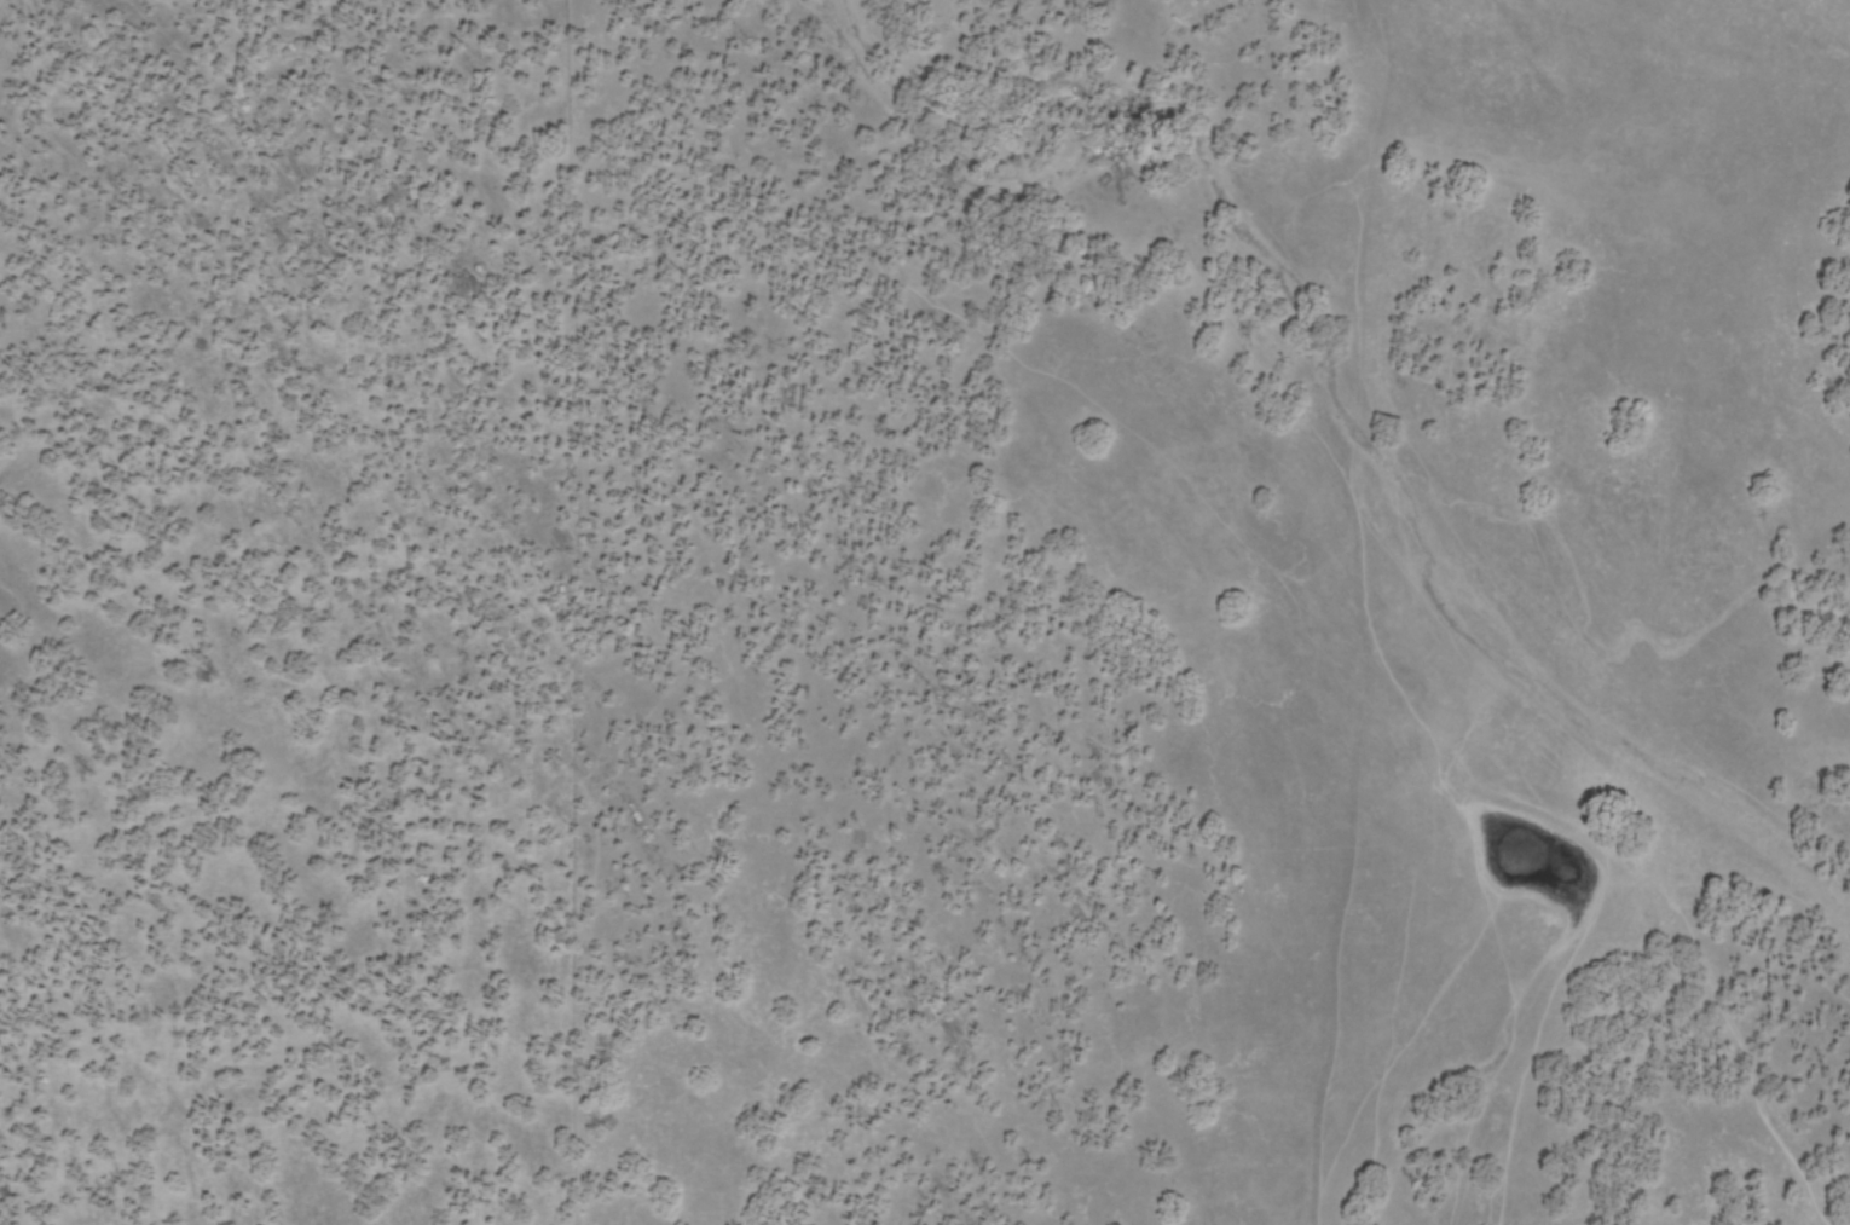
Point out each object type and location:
road: (1337, 1057)

